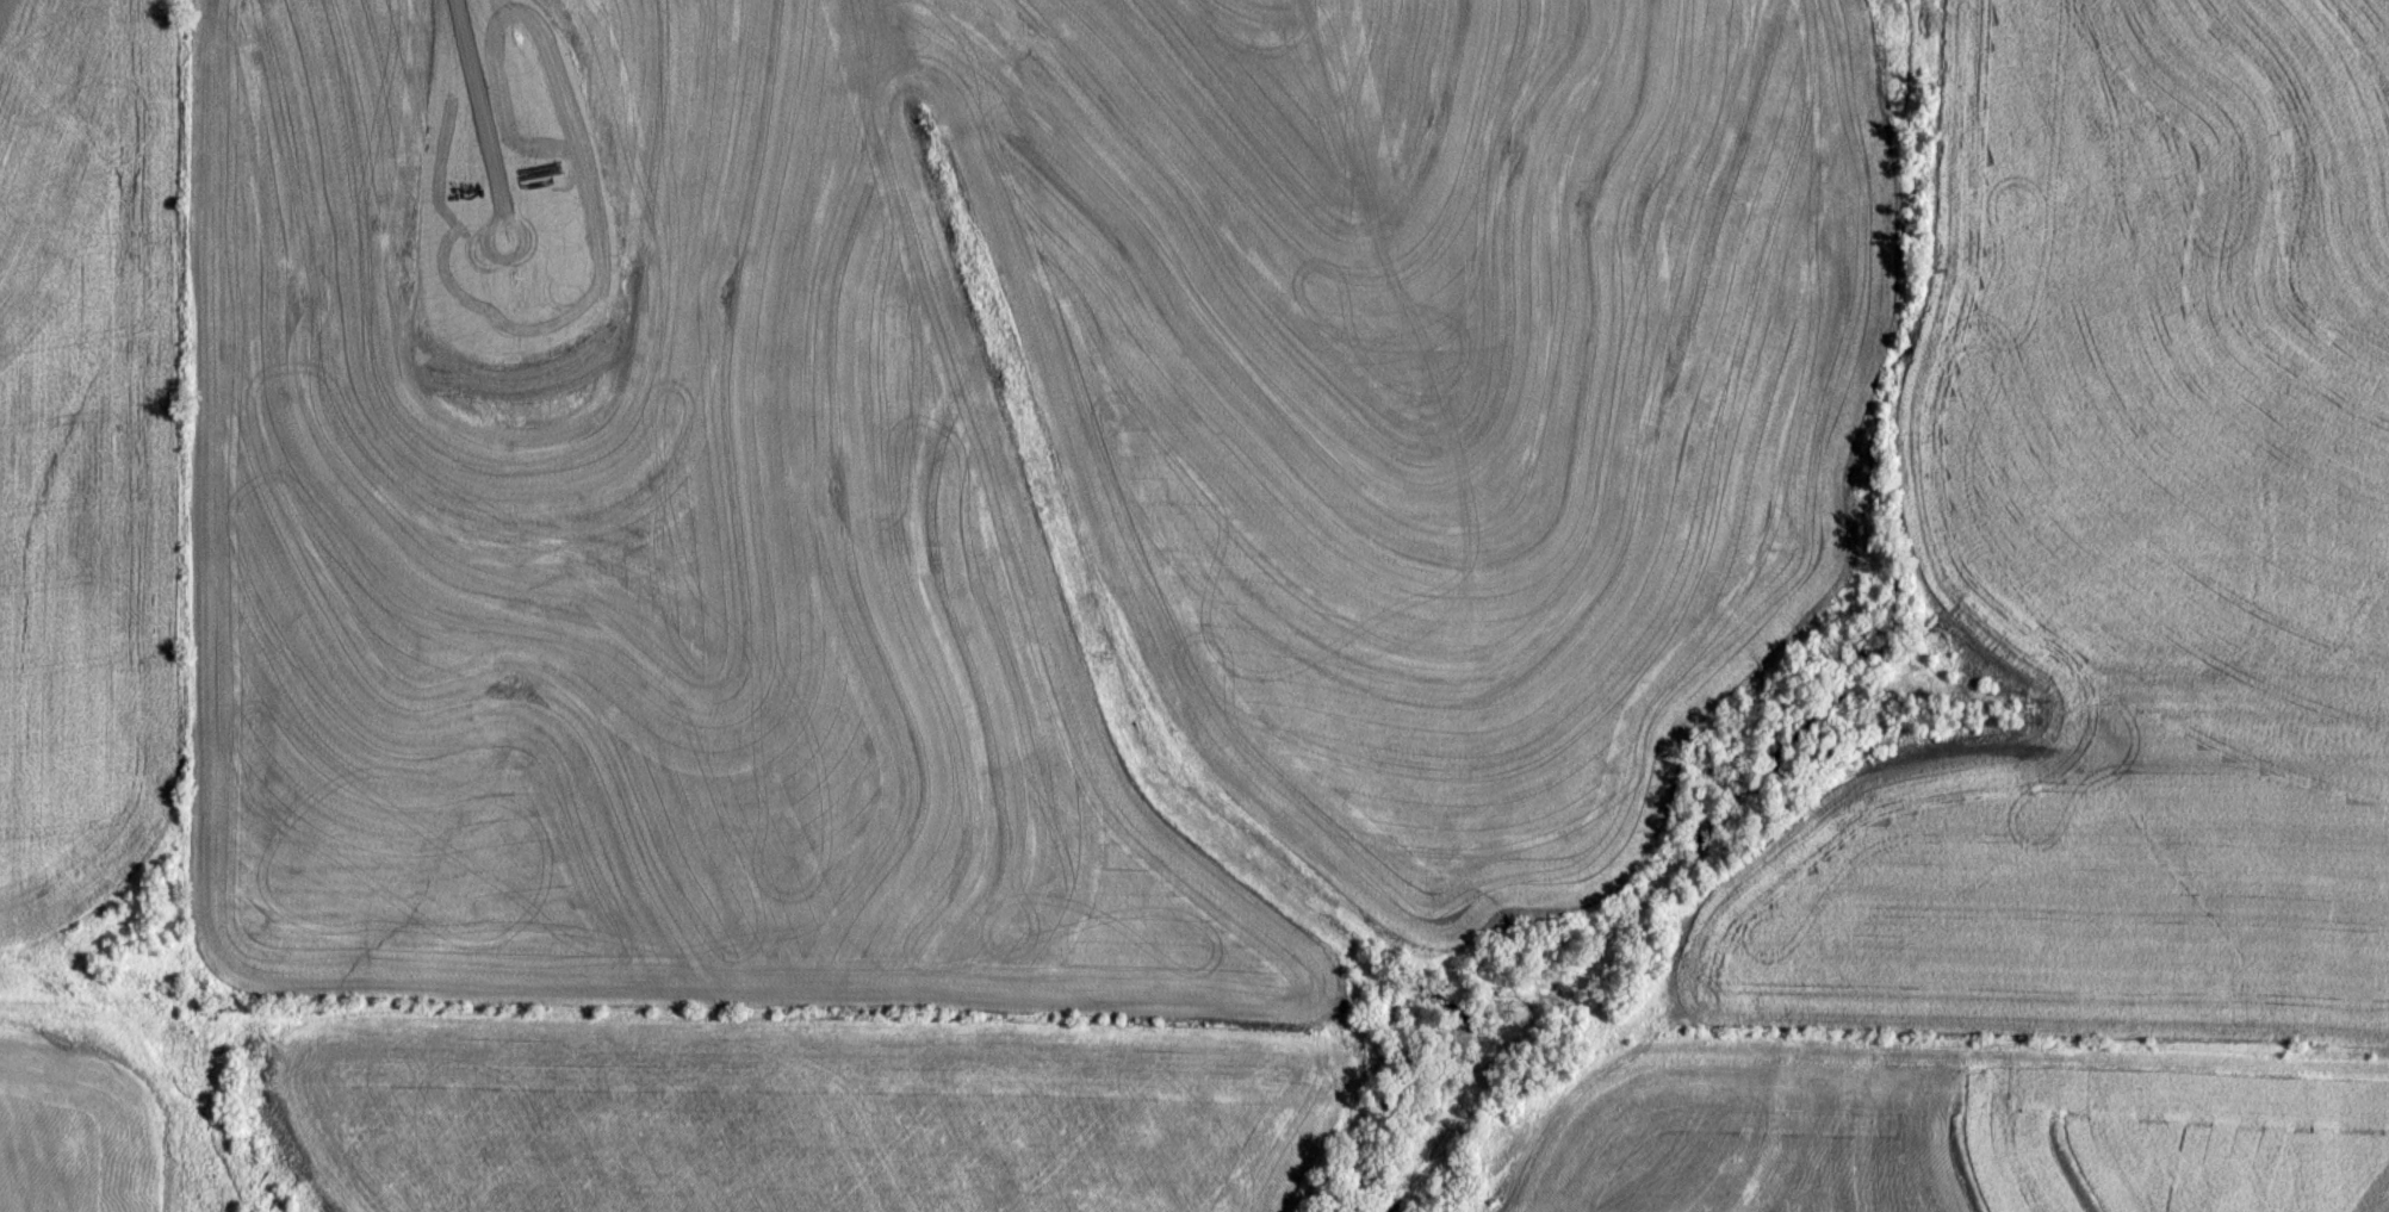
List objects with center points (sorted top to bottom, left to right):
wind turbine: (509, 274)

